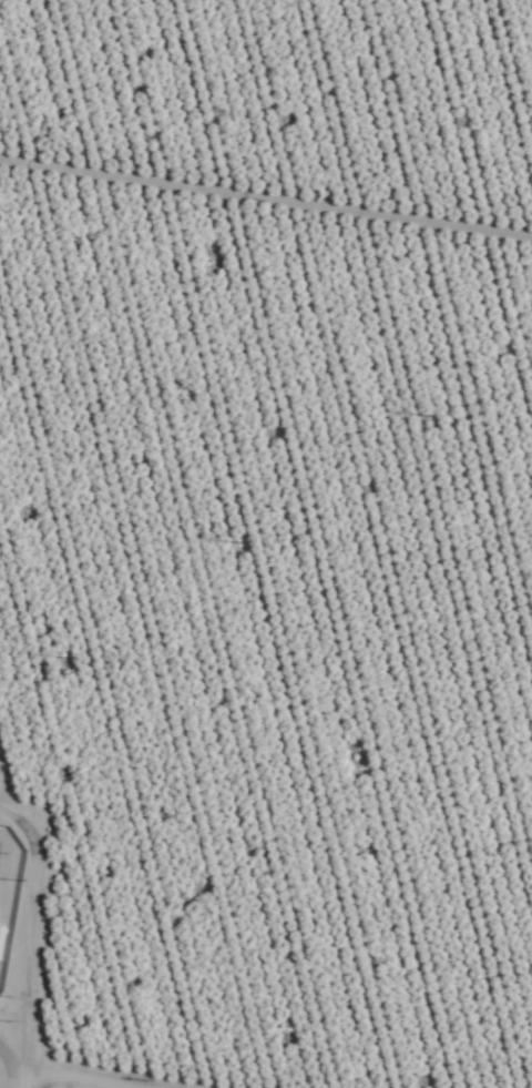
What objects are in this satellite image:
crop: (267, 540)
road: (17, 1079)
road: (23, 1087)

